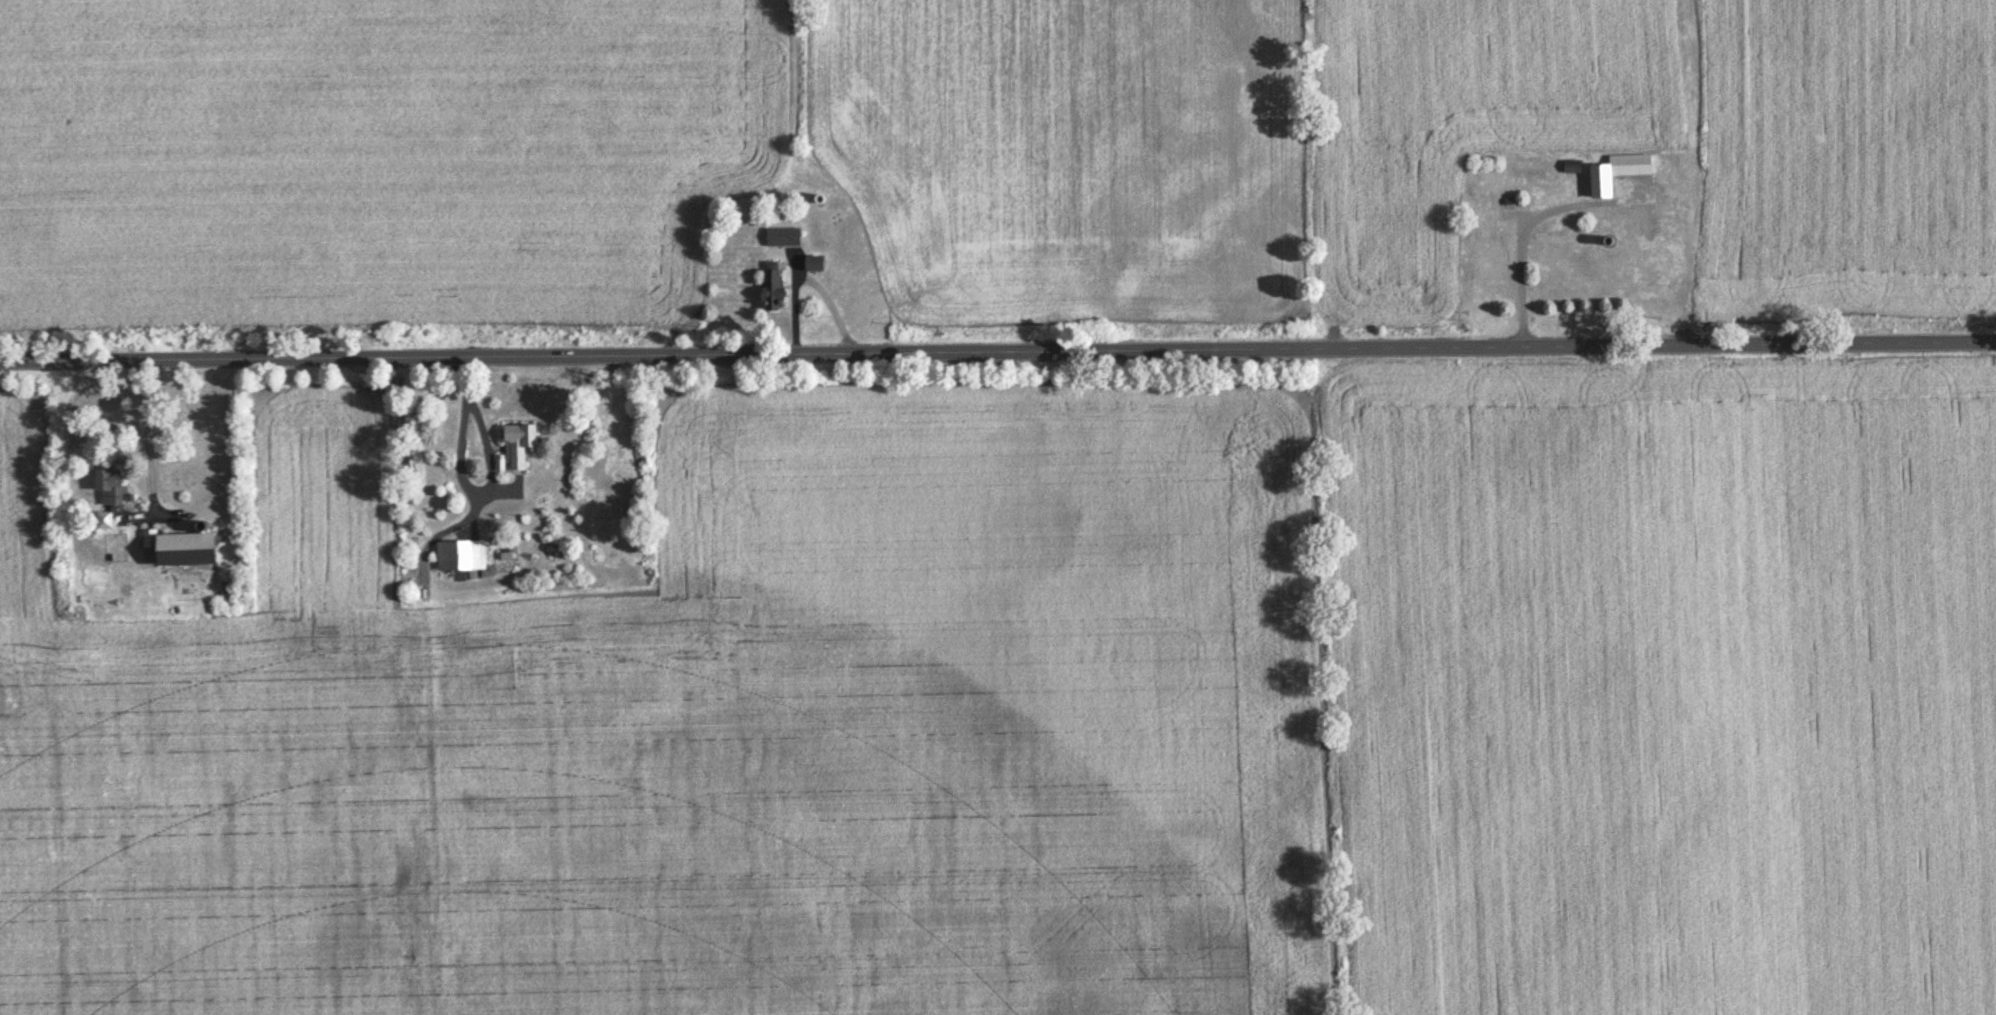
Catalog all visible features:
crop: (986, 167)
building: (1618, 174)
road: (1519, 232)
building: (784, 238)
building: (817, 264)
building: (775, 287)
road: (998, 345)
road: (148, 433)
building: (520, 446)
road: (489, 480)
building: (112, 489)
building: (105, 522)
building: (183, 550)
building: (462, 558)

